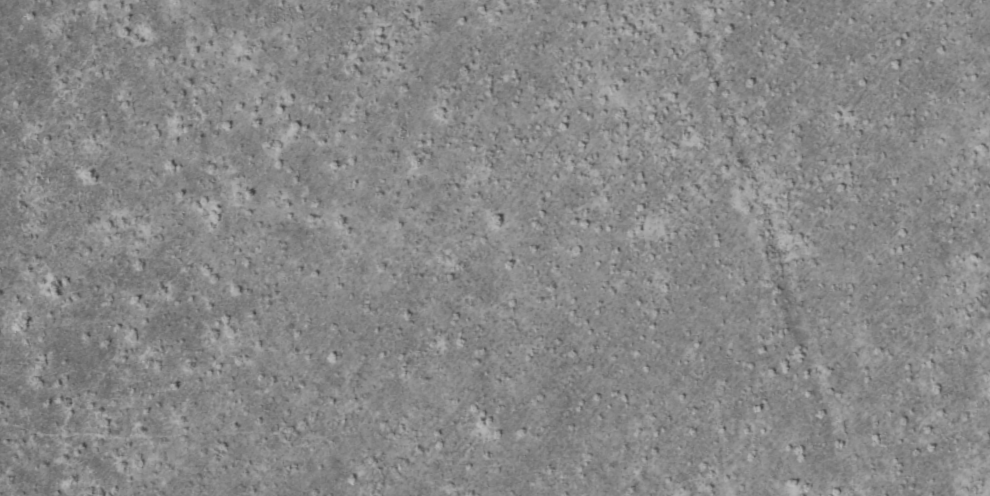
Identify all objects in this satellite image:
road: (774, 247)

